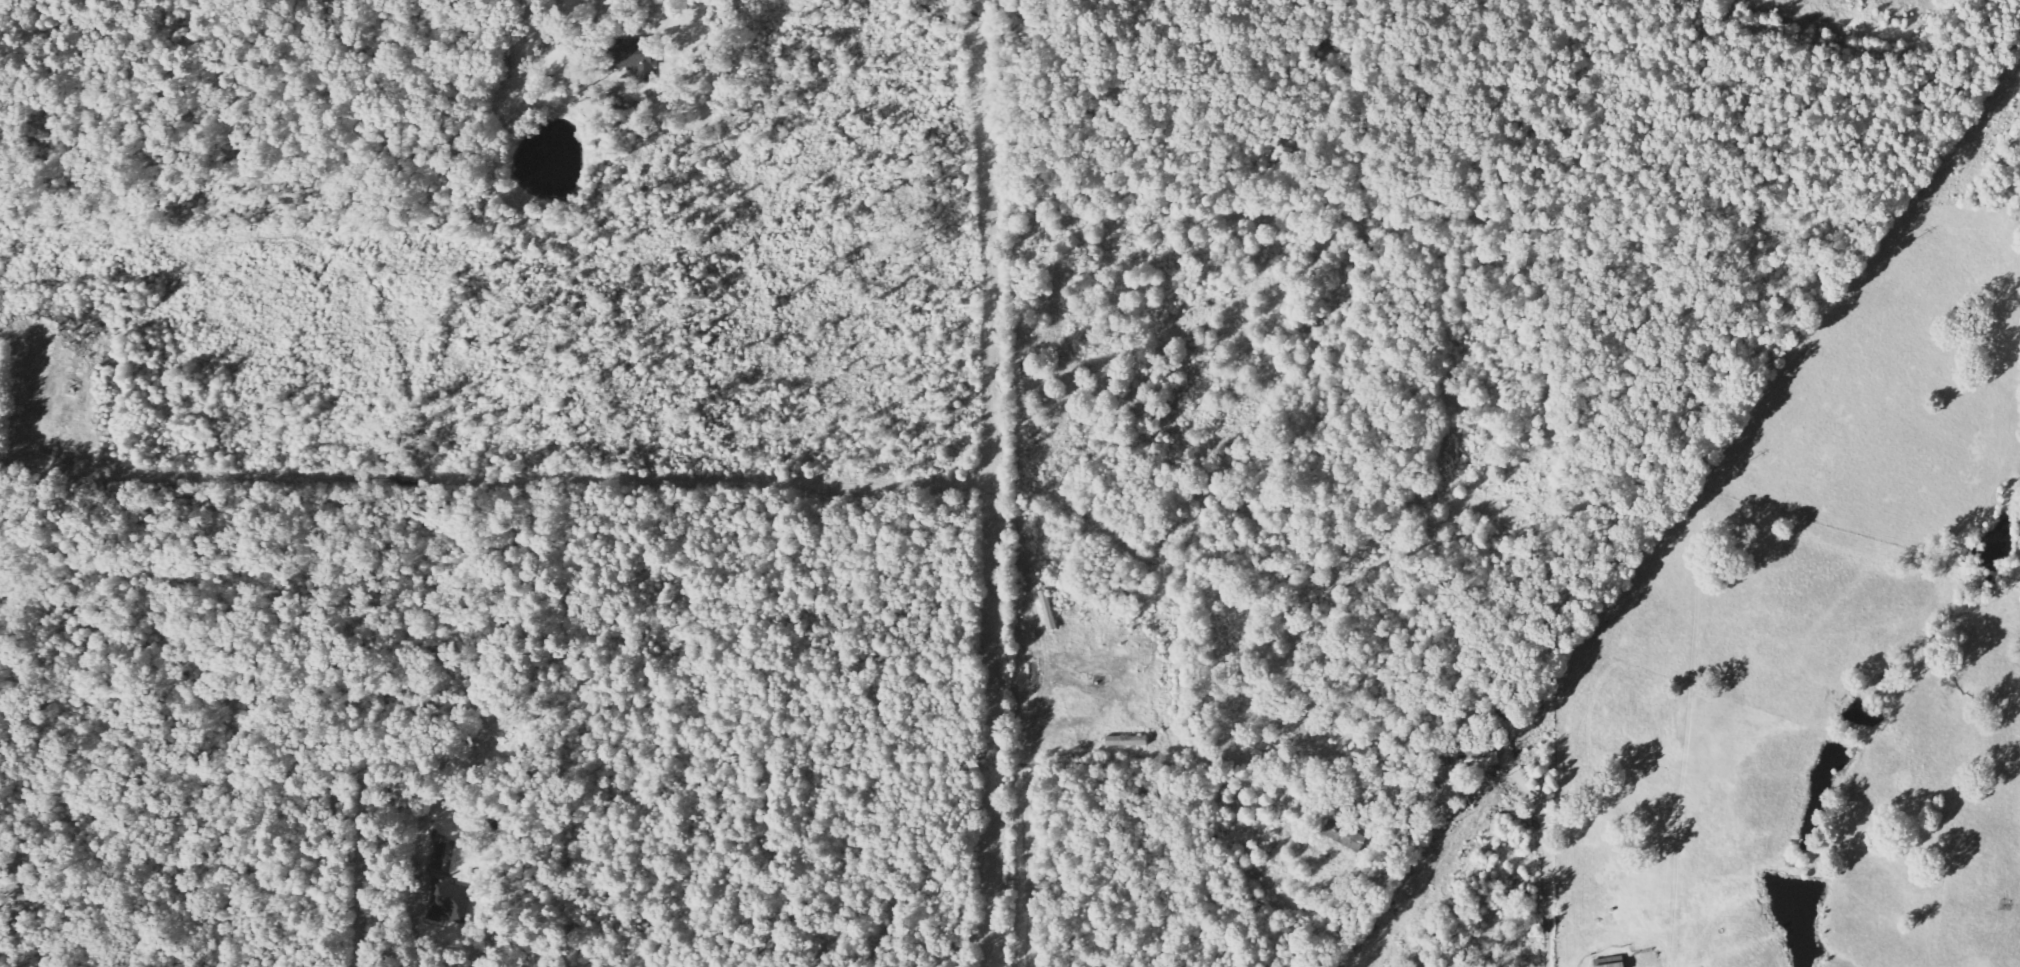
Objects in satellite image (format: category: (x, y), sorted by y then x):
road: (598, 9)
building: (636, 56)
building: (1122, 741)
building: (1484, 758)
road: (569, 793)
building: (1344, 836)
building: (444, 900)
building: (1610, 963)

